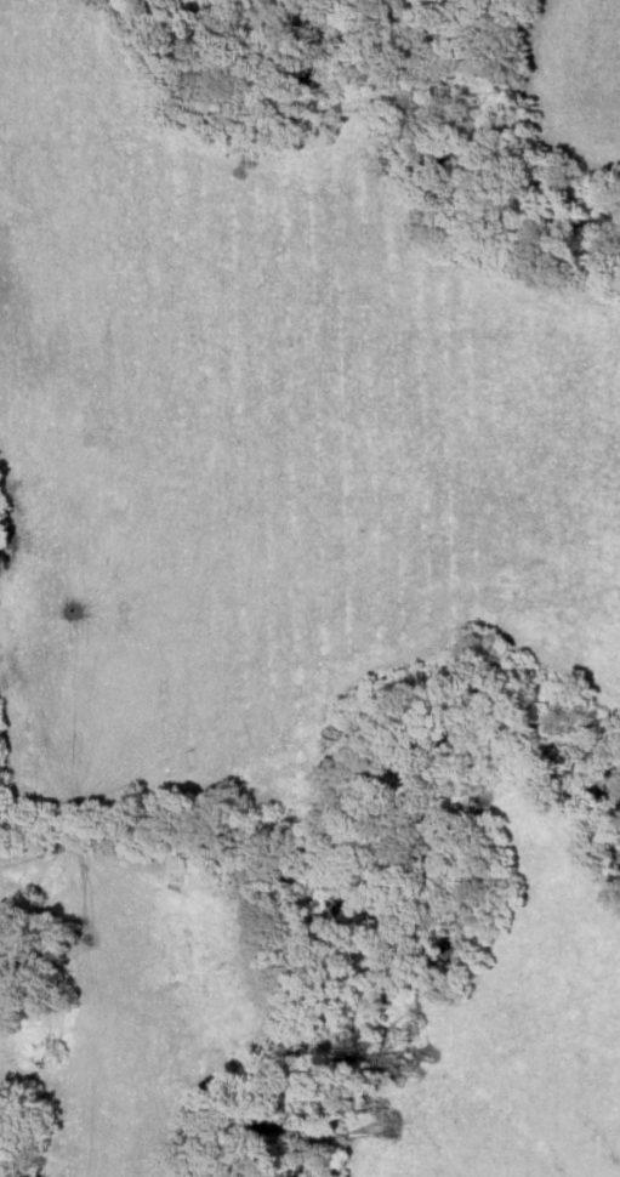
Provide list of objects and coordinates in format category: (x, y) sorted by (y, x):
road: (189, 847)

